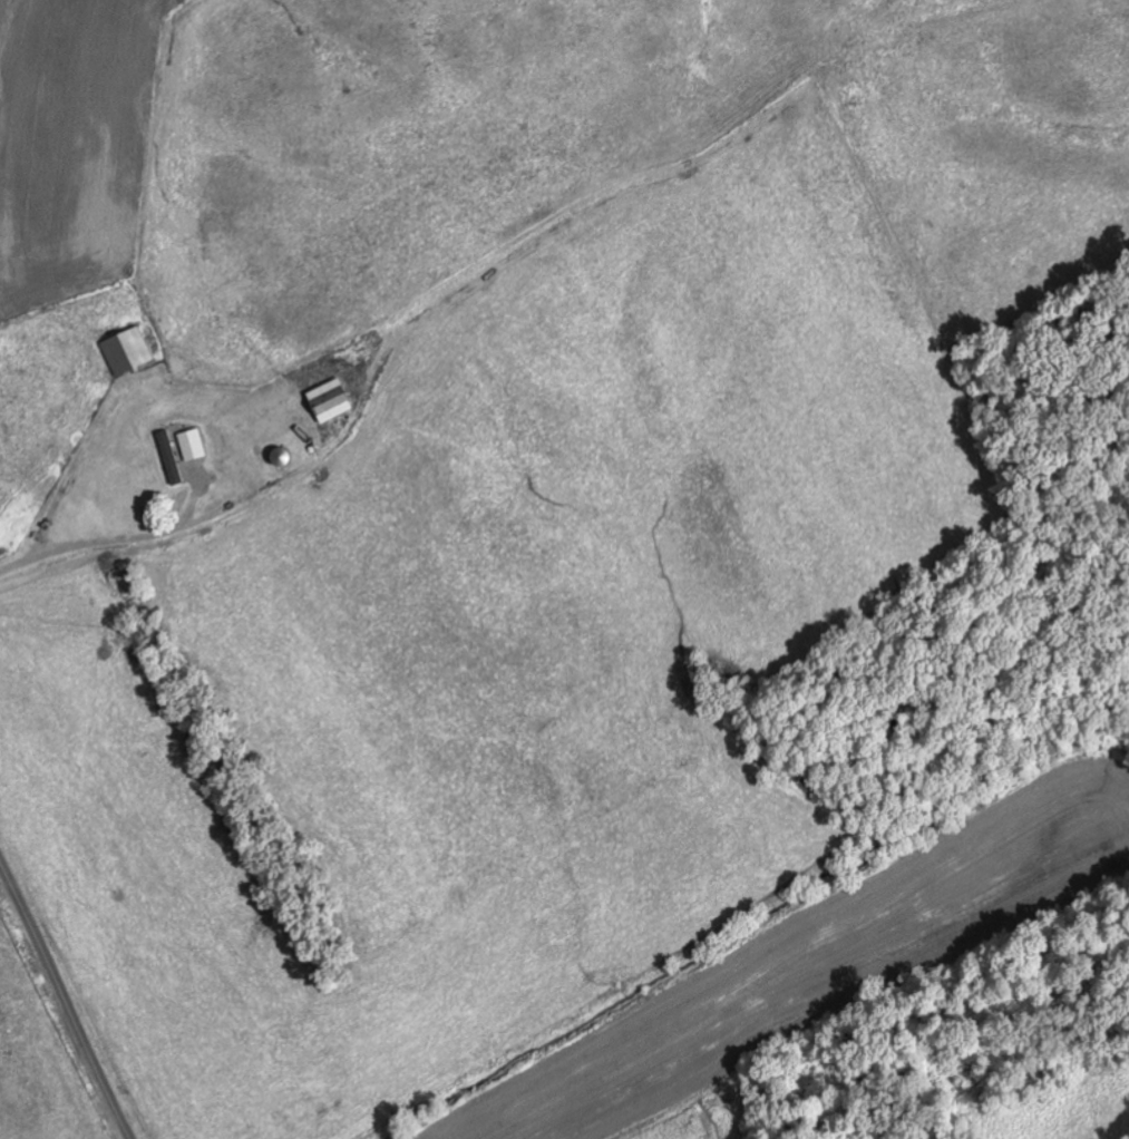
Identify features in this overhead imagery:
building: (127, 350)
building: (327, 406)
building: (192, 445)
building: (173, 457)
road: (66, 996)

